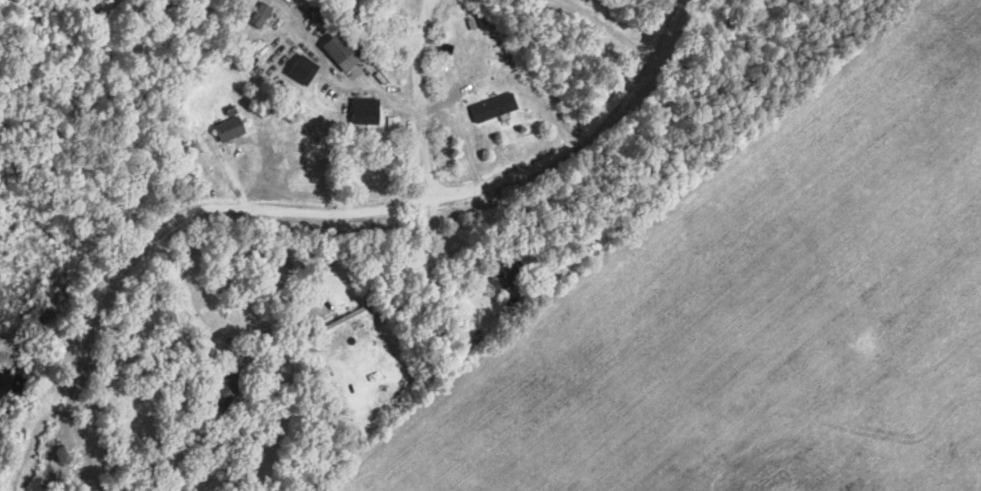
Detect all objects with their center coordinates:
road: (430, 0)
building: (67, 5)
building: (264, 15)
building: (479, 20)
road: (604, 28)
building: (341, 52)
road: (320, 54)
building: (304, 70)
road: (420, 99)
road: (388, 100)
building: (495, 106)
building: (365, 111)
building: (393, 123)
building: (229, 126)
road: (461, 133)
road: (222, 166)
road: (455, 196)
road: (466, 270)
road: (297, 273)
building: (511, 274)
road: (186, 292)
crop: (757, 314)
building: (346, 319)
road: (205, 339)
road: (80, 351)
road: (153, 378)
building: (229, 387)
building: (244, 445)

